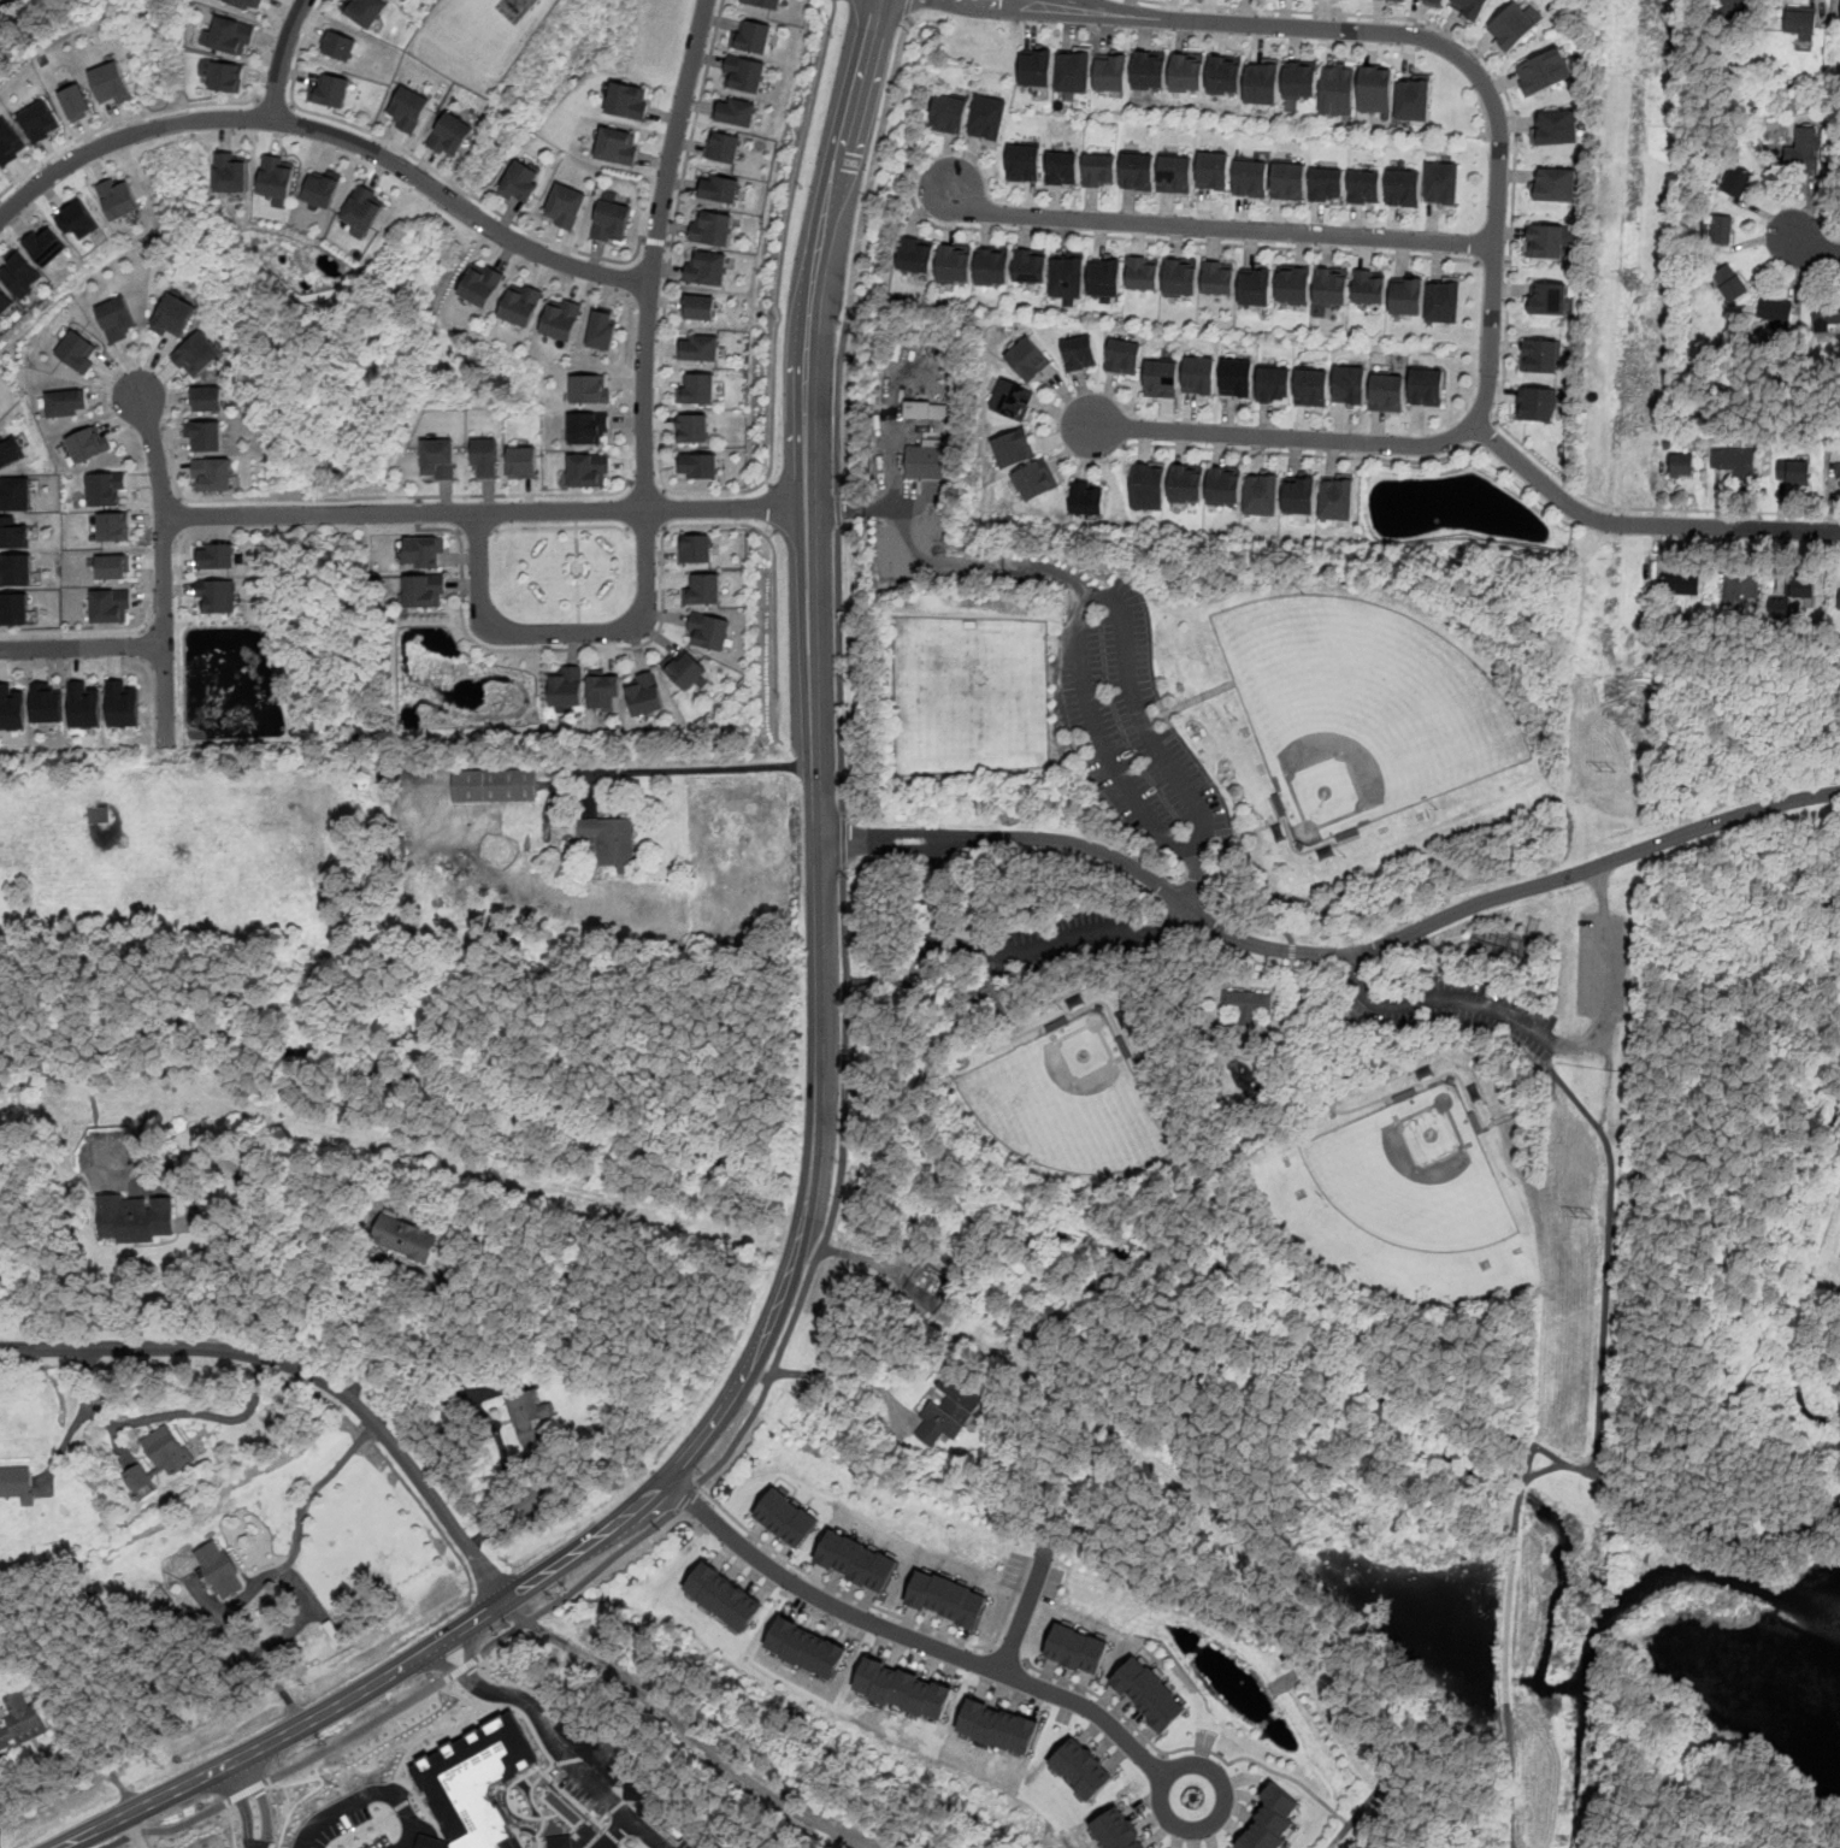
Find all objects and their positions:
building: (1398, 0)
road: (1037, 1)
building: (1433, 1)
building: (766, 2)
building: (248, 4)
road: (908, 7)
building: (1469, 7)
building: (1738, 7)
building: (364, 10)
building: (1800, 22)
building: (1512, 25)
building: (229, 35)
building: (751, 35)
building: (340, 46)
road: (283, 58)
road: (1491, 66)
building: (1036, 67)
building: (1110, 69)
building: (1148, 69)
building: (1073, 71)
building: (1187, 71)
building: (744, 73)
building: (1225, 73)
building: (1544, 73)
building: (226, 77)
building: (1299, 78)
building: (1262, 81)
building: (111, 83)
building: (1375, 87)
building: (1337, 88)
building: (329, 89)
building: (1413, 96)
building: (627, 100)
road: (273, 101)
building: (77, 104)
road: (293, 105)
building: (408, 108)
building: (736, 111)
building: (948, 114)
building: (986, 119)
road: (119, 120)
road: (695, 120)
building: (39, 122)
building: (1555, 129)
road: (329, 132)
building: (450, 135)
building: (8, 142)
building: (619, 146)
building: (724, 146)
building: (1803, 150)
building: (1022, 164)
road: (427, 165)
building: (1061, 167)
building: (1099, 170)
building: (1137, 170)
building: (1214, 170)
building: (231, 172)
building: (1175, 173)
building: (277, 175)
road: (910, 175)
building: (1250, 178)
building: (1288, 181)
building: (1735, 181)
building: (520, 183)
building: (1326, 184)
building: (1441, 184)
building: (1556, 185)
building: (322, 187)
building: (1363, 187)
building: (719, 188)
building: (1403, 188)
road: (832, 196)
building: (120, 199)
road: (1497, 202)
building: (566, 205)
building: (365, 207)
building: (77, 218)
building: (612, 223)
building: (710, 228)
road: (1216, 229)
building: (1720, 229)
building: (1549, 240)
road: (655, 241)
road: (1176, 241)
building: (46, 243)
road: (670, 243)
road: (1811, 247)
building: (915, 255)
building: (954, 262)
road: (1492, 262)
building: (991, 264)
building: (1030, 266)
building: (707, 267)
building: (1143, 272)
building: (20, 274)
building: (1067, 276)
building: (1104, 277)
building: (1180, 277)
building: (1219, 278)
power tower: (1636, 279)
building: (1729, 281)
building: (482, 284)
building: (1255, 284)
building: (1293, 284)
building: (1369, 285)
building: (1329, 289)
building: (1405, 295)
building: (1547, 297)
building: (1443, 299)
building: (5, 301)
building: (521, 305)
building: (698, 307)
building: (1774, 311)
building: (1826, 312)
building: (173, 317)
building: (117, 319)
building: (561, 319)
building: (601, 330)
building: (698, 348)
building: (77, 352)
building: (1079, 354)
building: (197, 355)
building: (1540, 355)
building: (1122, 358)
building: (1027, 360)
building: (1197, 376)
building: (1235, 377)
building: (1161, 379)
building: (1274, 384)
building: (1350, 385)
building: (1311, 386)
building: (1427, 386)
building: (696, 388)
building: (589, 389)
building: (1387, 391)
building: (207, 400)
building: (1012, 401)
building: (64, 403)
building: (1535, 405)
building: (926, 411)
road: (772, 412)
building: (588, 427)
building: (692, 427)
road: (1486, 433)
building: (205, 437)
road: (645, 441)
building: (85, 444)
building: (12, 448)
building: (1013, 449)
road: (1301, 454)
building: (485, 456)
building: (438, 457)
road: (172, 461)
building: (1734, 461)
building: (523, 462)
building: (925, 464)
building: (1681, 464)
building: (697, 466)
building: (588, 470)
building: (1793, 472)
building: (212, 476)
building: (1839, 477)
building: (1034, 482)
road: (768, 483)
building: (1186, 483)
building: (1223, 485)
building: (1148, 486)
road: (647, 488)
road: (664, 489)
building: (104, 490)
building: (1261, 492)
building: (16, 494)
building: (1299, 494)
road: (408, 496)
road: (419, 498)
building: (1337, 498)
building: (1087, 500)
road: (773, 508)
road: (662, 509)
road: (1651, 509)
road: (479, 512)
road: (419, 513)
road: (179, 516)
road: (1640, 525)
road: (561, 526)
building: (113, 527)
road: (644, 530)
road: (477, 532)
building: (17, 533)
road: (772, 533)
building: (694, 548)
road: (796, 550)
road: (822, 553)
building: (216, 554)
building: (424, 554)
road: (164, 562)
building: (113, 567)
building: (18, 569)
road: (577, 571)
road: (179, 574)
building: (1680, 581)
building: (703, 589)
building: (425, 590)
building: (1741, 591)
building: (216, 595)
building: (1795, 595)
road: (163, 597)
road: (662, 598)
building: (1839, 600)
building: (110, 606)
road: (1119, 607)
building: (16, 608)
road: (839, 620)
building: (708, 630)
road: (88, 631)
road: (81, 646)
building: (684, 668)
building: (567, 686)
building: (603, 691)
building: (645, 695)
park: (969, 695)
building: (46, 702)
building: (85, 703)
building: (123, 703)
building: (11, 707)
park: (1370, 709)
parking lot: (1132, 728)
road: (683, 769)
power tower: (1610, 772)
building: (494, 784)
building: (99, 814)
building: (611, 843)
parking lot: (1043, 941)
road: (1328, 955)
road: (1021, 956)
road: (1604, 980)
road: (910, 982)
building: (1245, 1003)
road: (1438, 1008)
parking lot: (1469, 1016)
park: (1071, 1103)
park: (1373, 1112)
park: (1408, 1205)
building: (135, 1217)
power tower: (1585, 1221)
building: (403, 1235)
road: (1158, 1248)
road: (1603, 1254)
park: (1832, 1262)
road: (230, 1265)
road: (415, 1338)
road: (775, 1366)
road: (306, 1370)
road: (835, 1372)
building: (949, 1410)
building: (527, 1413)
road: (165, 1415)
road: (494, 1423)
road: (697, 1441)
building: (158, 1457)
building: (17, 1482)
road: (314, 1488)
road: (1518, 1493)
road: (685, 1498)
building: (788, 1517)
building: (857, 1560)
building: (218, 1569)
road: (578, 1586)
road: (302, 1590)
building: (724, 1596)
building: (948, 1598)
road: (1026, 1611)
road: (942, 1631)
building: (807, 1648)
building: (1078, 1648)
road: (461, 1667)
road: (1008, 1672)
building: (902, 1688)
building: (1149, 1693)
building: (20, 1720)
building: (997, 1726)
road: (684, 1728)
road: (358, 1730)
road: (552, 1742)
road: (64, 1755)
road: (1199, 1757)
building: (1081, 1769)
road: (1275, 1772)
road: (401, 1778)
building: (477, 1782)
road: (248, 1790)
road: (263, 1801)
road: (243, 1805)
road: (1400, 1813)
building: (1272, 1820)
road: (169, 1830)
building: (1115, 1830)
building: (559, 1842)

